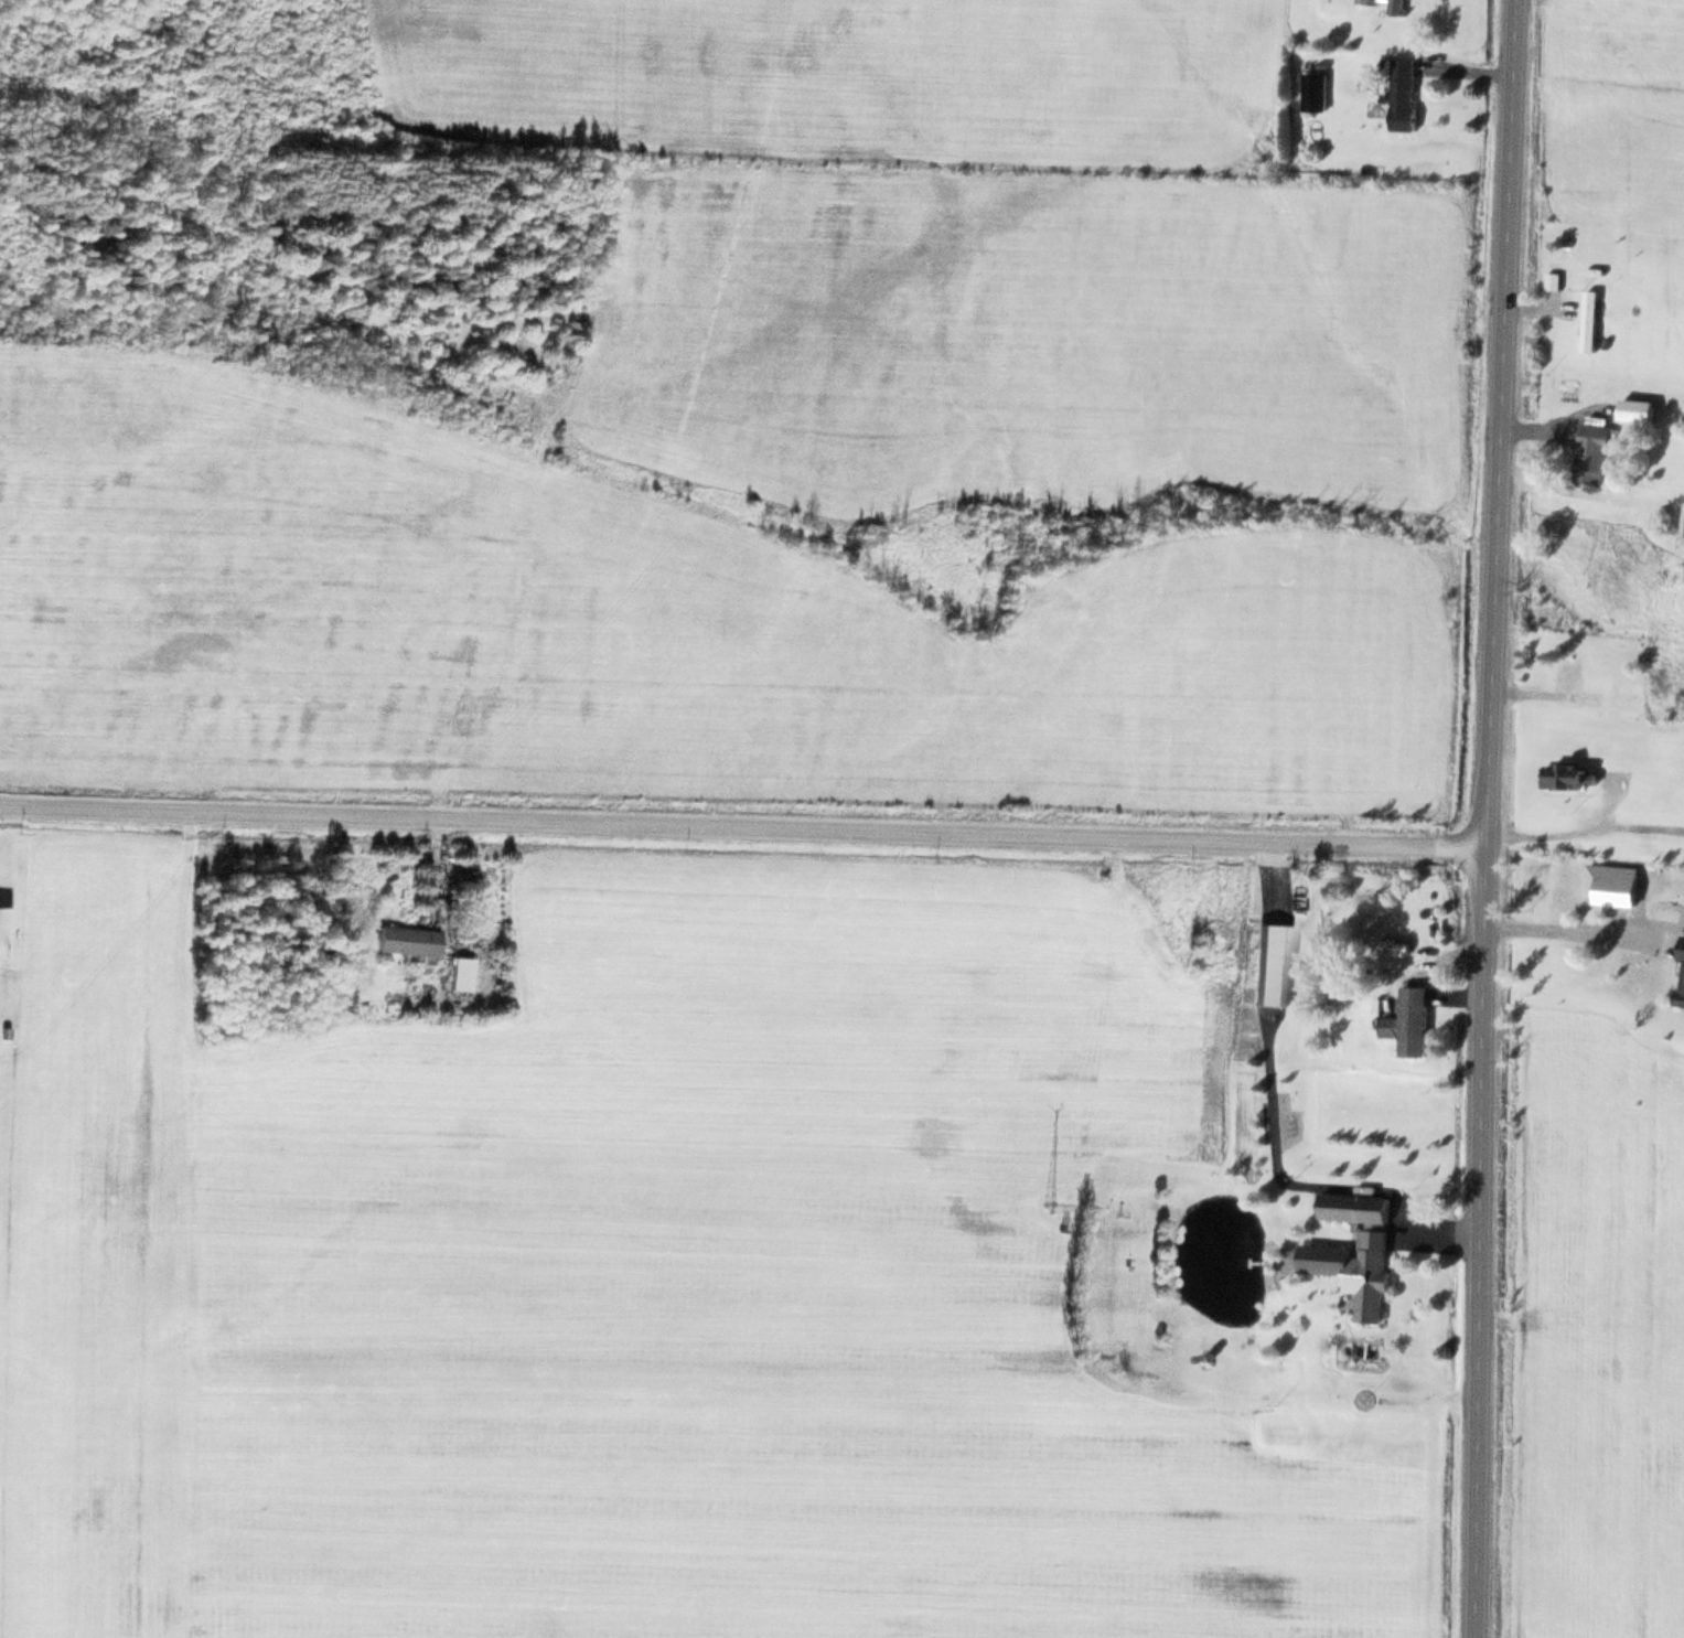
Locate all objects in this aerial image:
building: (1366, 1)
building: (1394, 7)
building: (1312, 89)
building: (1401, 93)
building: (1587, 318)
building: (1634, 408)
building: (1590, 451)
building: (1683, 524)
building: (1573, 678)
building: (1567, 774)
road: (1482, 818)
road: (740, 826)
building: (404, 939)
building: (1272, 962)
building: (458, 972)
building: (1681, 977)
building: (1414, 1020)
building: (1387, 1026)
building: (1355, 1248)

